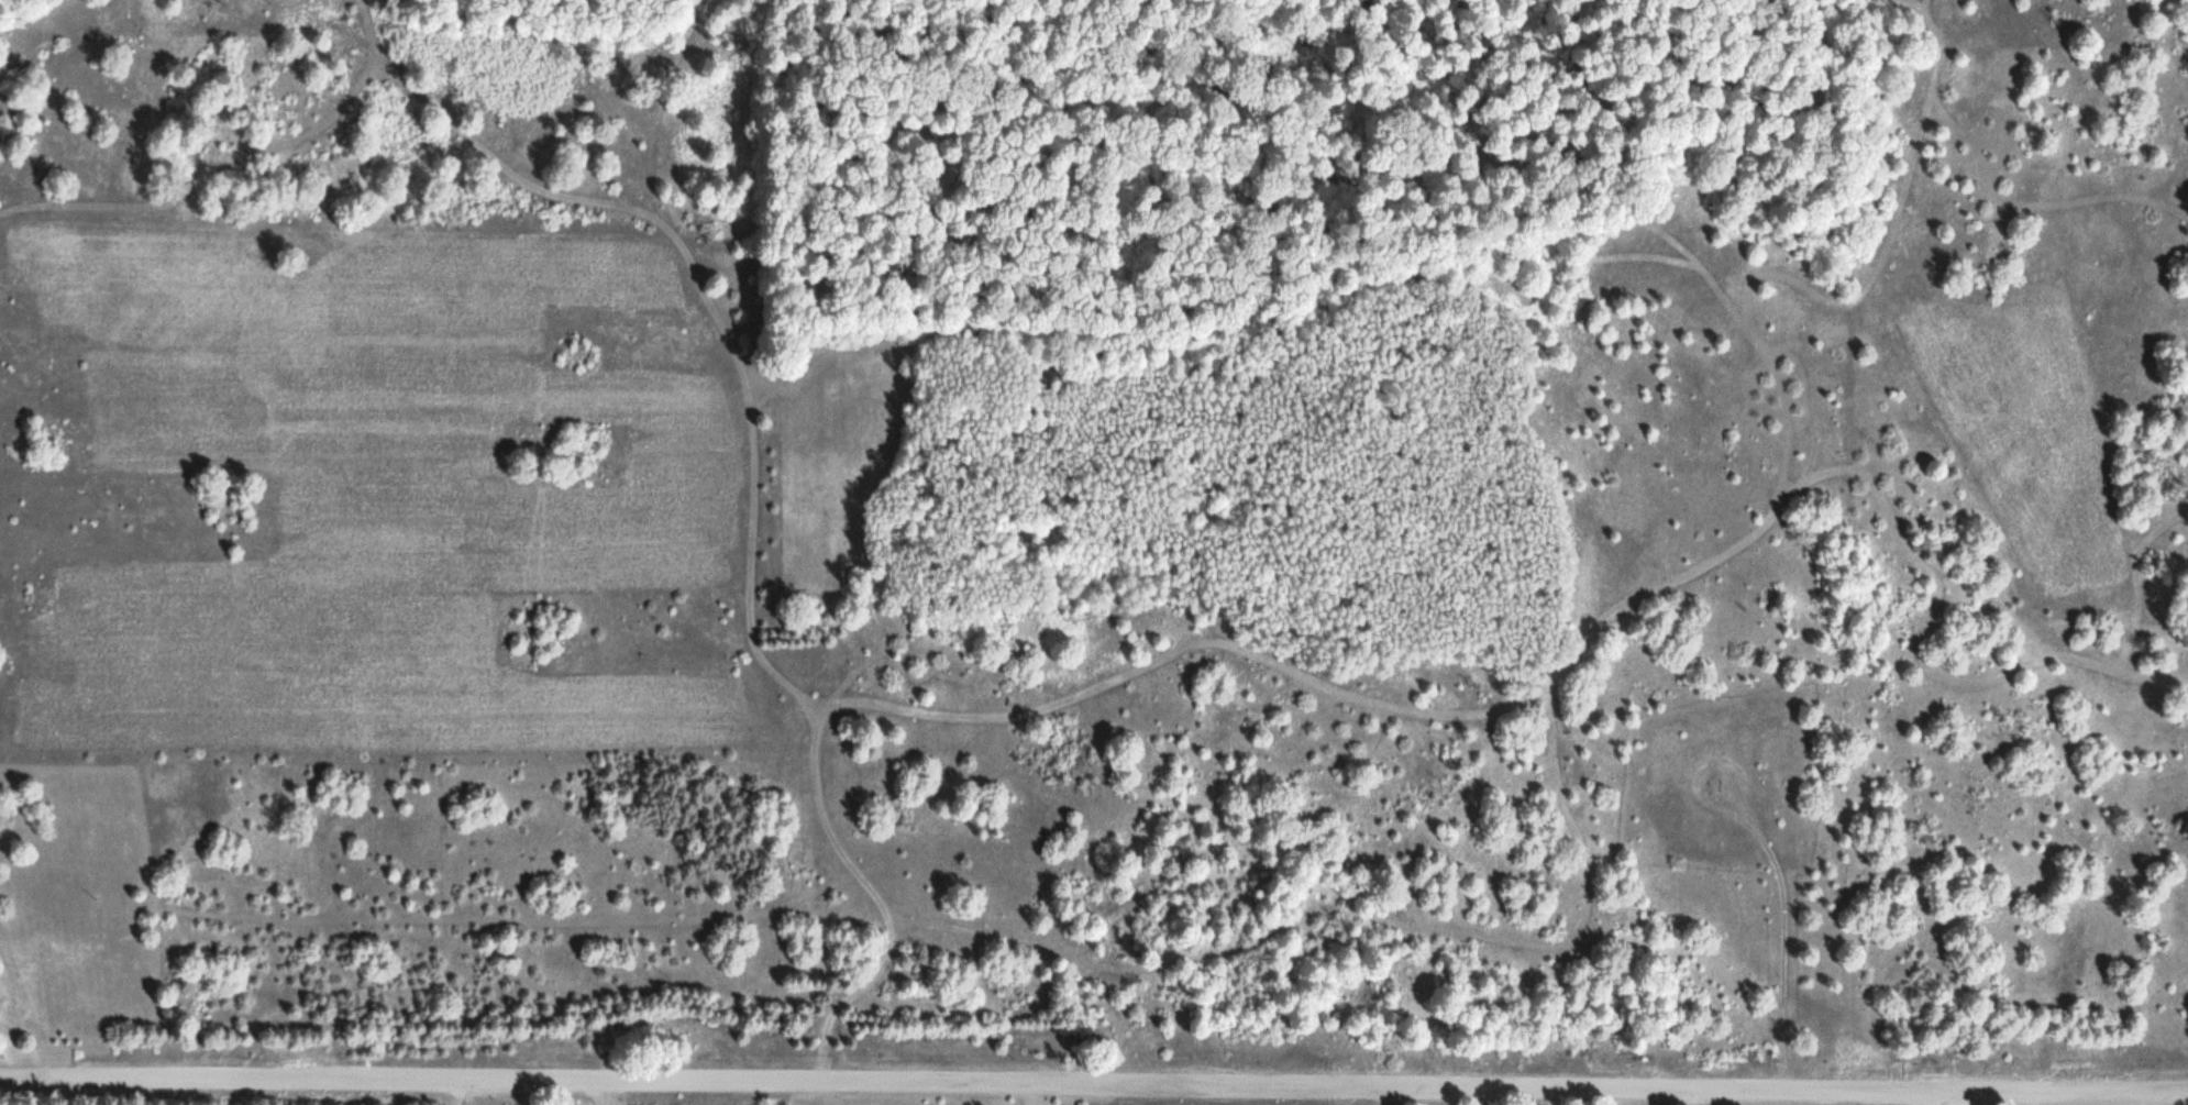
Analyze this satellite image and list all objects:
road: (1094, 1079)

